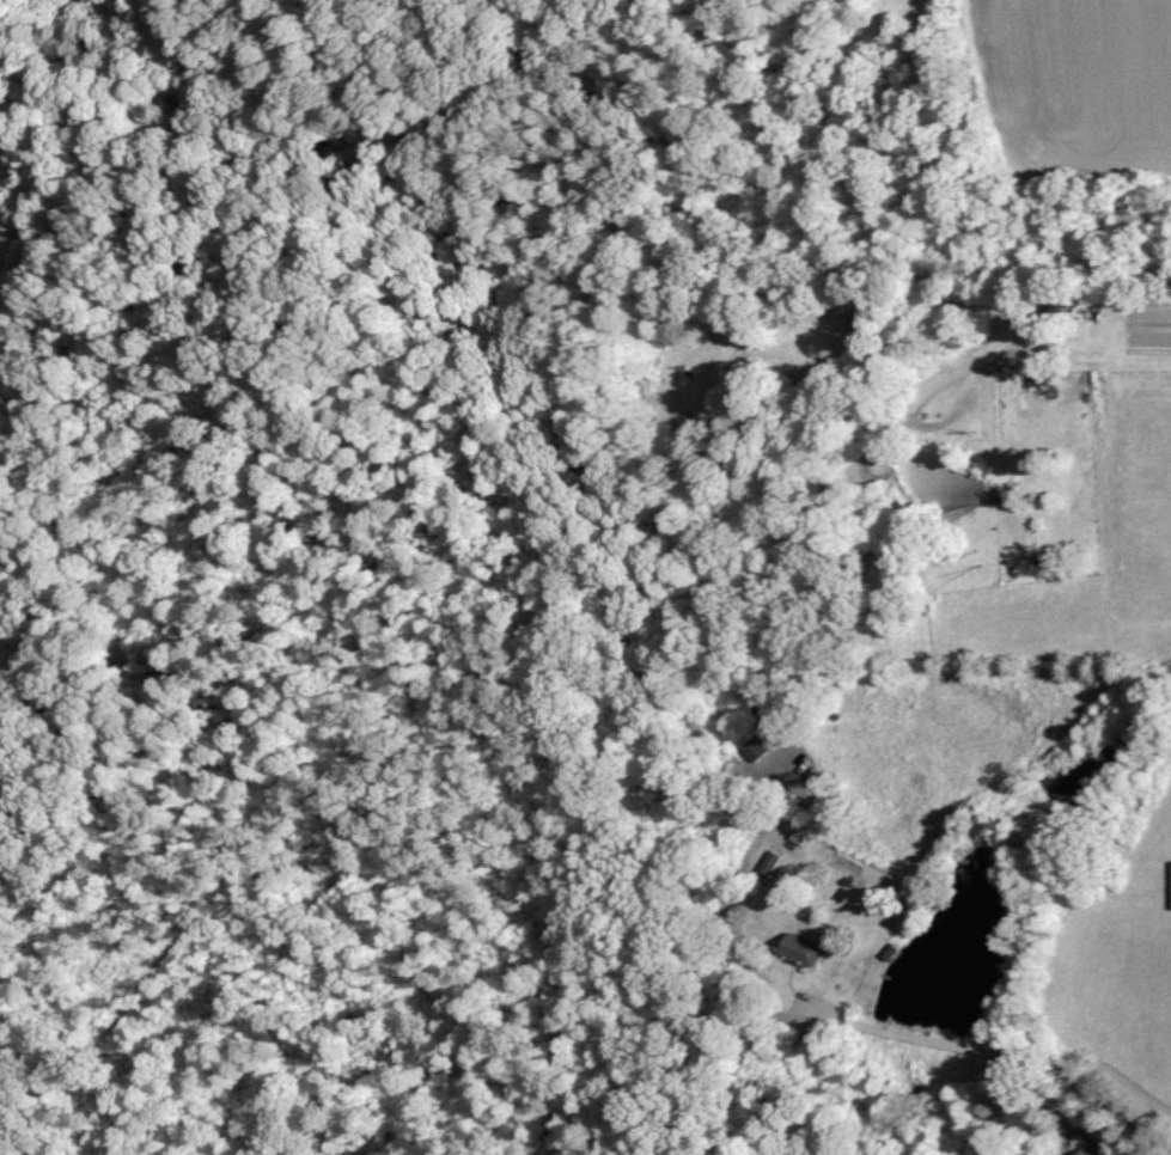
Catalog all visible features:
road: (1128, 294)
building: (755, 747)
building: (768, 863)
building: (1170, 890)
building: (797, 947)
road: (982, 1044)

